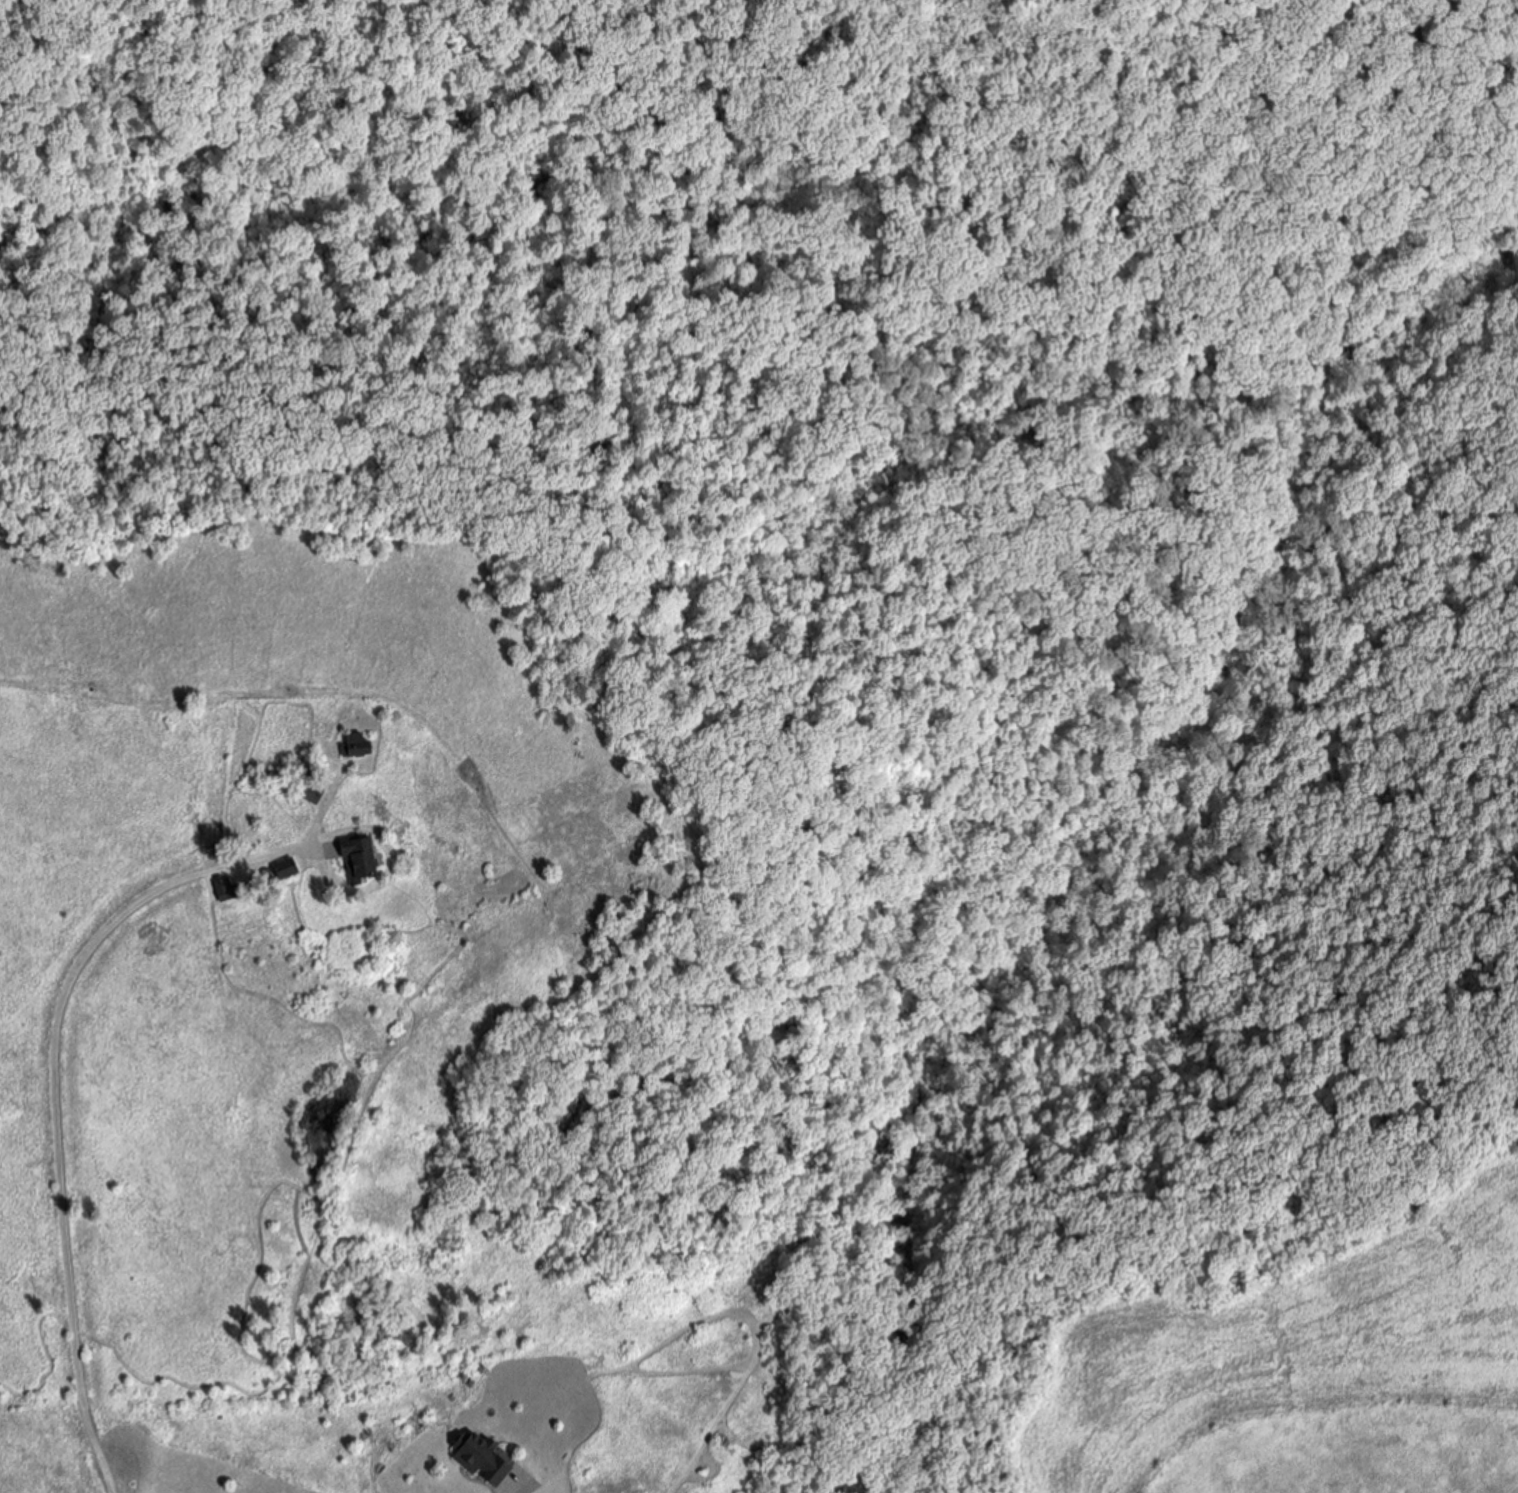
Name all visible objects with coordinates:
building: (361, 747)
building: (315, 794)
building: (363, 859)
building: (290, 869)
building: (229, 889)
road: (57, 1073)
river: (389, 1339)
building: (486, 1459)
road: (120, 1479)

